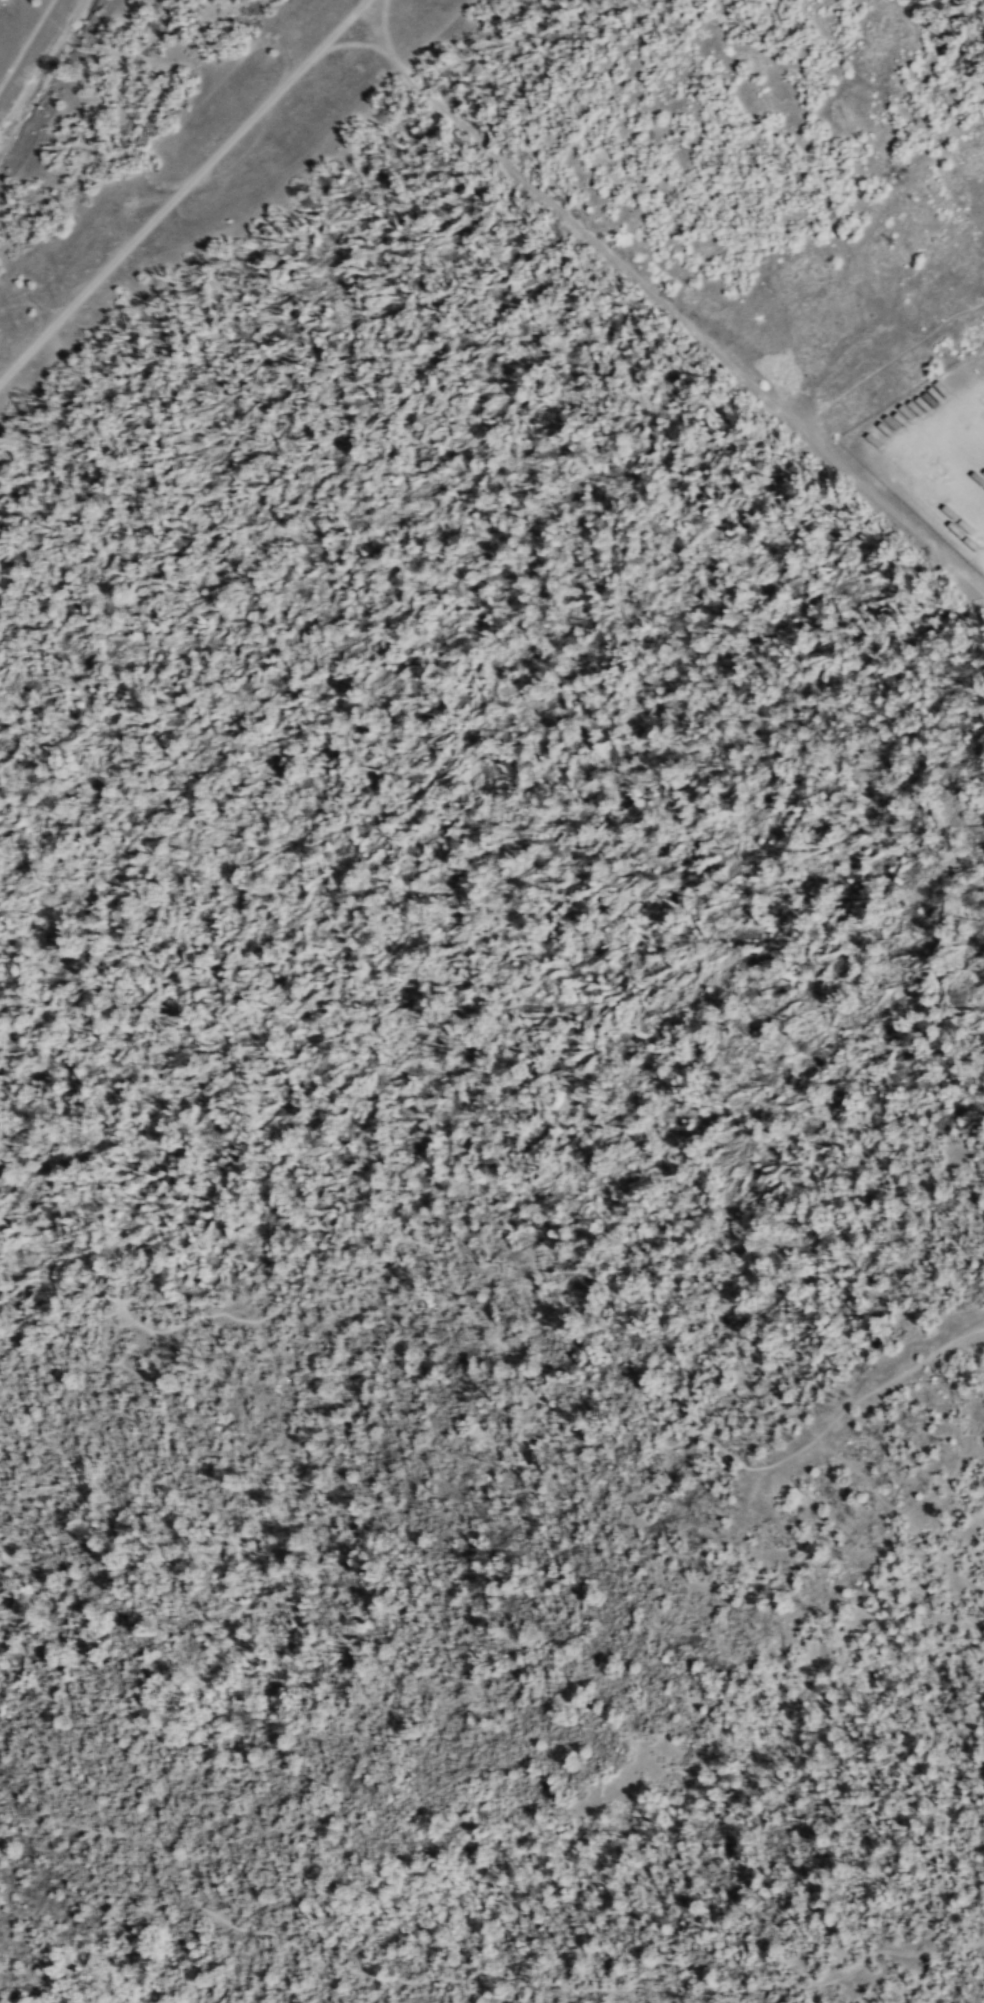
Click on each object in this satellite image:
road: (181, 189)
road: (664, 306)
road: (898, 1378)
road: (787, 1467)
road: (902, 1516)
road: (475, 1981)

